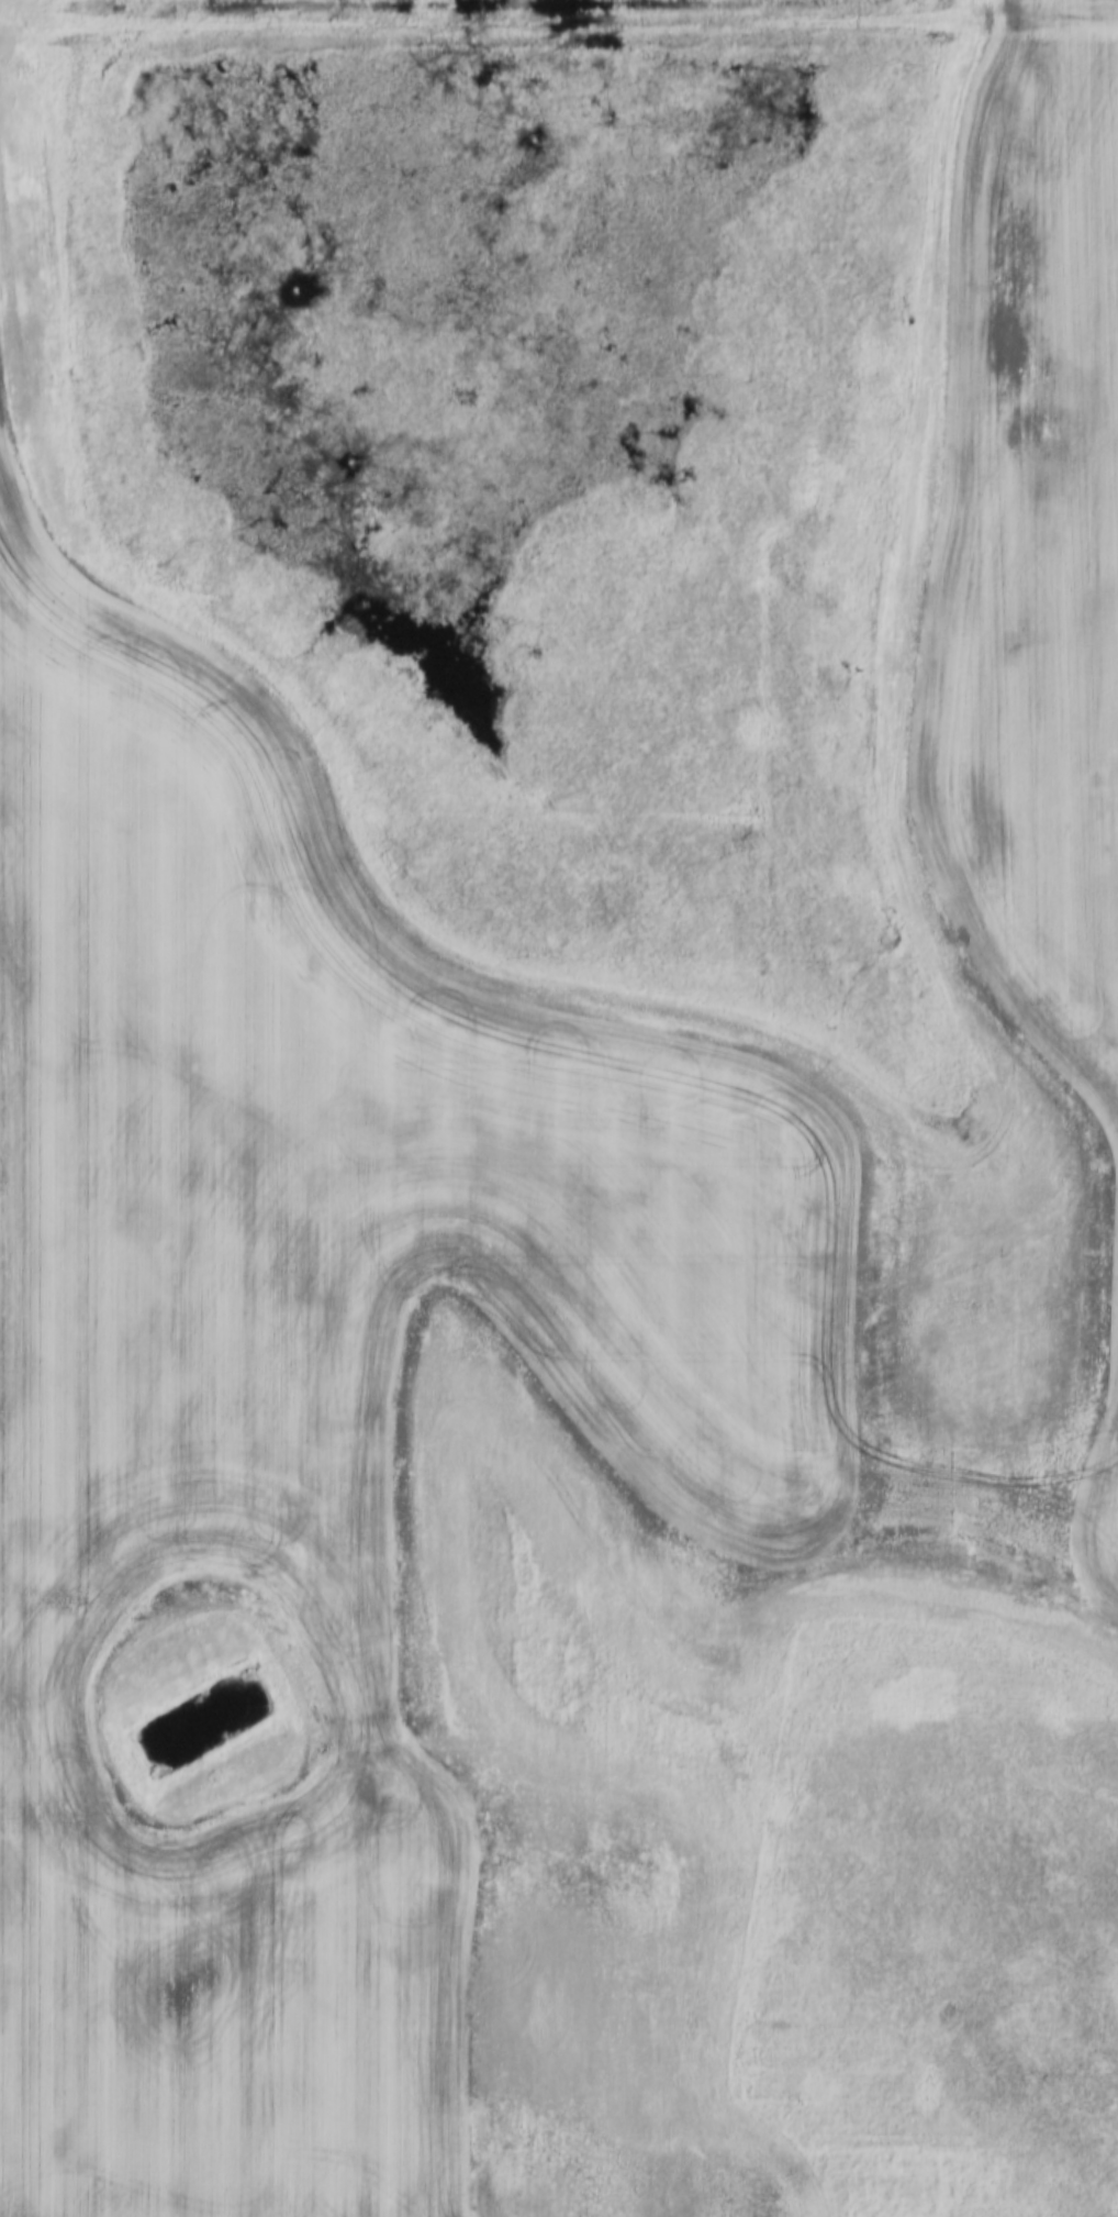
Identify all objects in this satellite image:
road: (559, 27)

